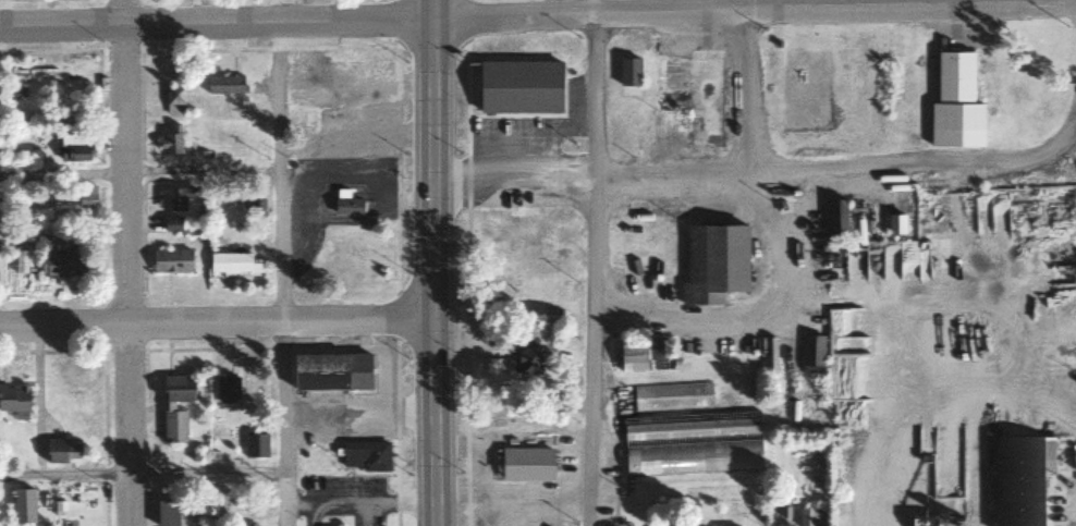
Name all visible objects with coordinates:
road: (745, 10)
road: (215, 22)
building: (628, 69)
building: (223, 85)
road: (748, 86)
building: (518, 87)
building: (692, 94)
building: (173, 100)
building: (955, 102)
building: (171, 140)
building: (73, 148)
road: (840, 167)
road: (61, 172)
building: (86, 197)
building: (178, 197)
building: (347, 206)
building: (256, 207)
building: (836, 216)
building: (171, 223)
building: (171, 260)
building: (714, 260)
building: (61, 262)
road: (122, 262)
building: (232, 262)
road: (279, 262)
road: (431, 262)
road: (589, 262)
building: (839, 304)
road: (216, 322)
building: (641, 355)
building: (525, 360)
building: (330, 371)
building: (178, 389)
building: (227, 389)
building: (671, 396)
building: (13, 397)
building: (173, 426)
building: (692, 443)
building: (256, 445)
building: (62, 451)
building: (365, 456)
building: (529, 460)
road: (140, 470)
building: (1018, 480)
building: (167, 513)

